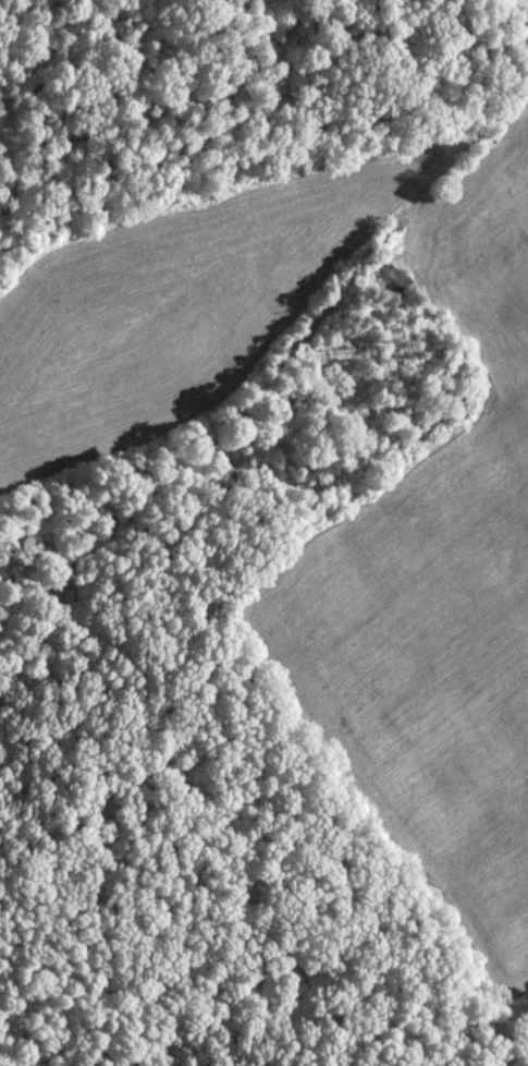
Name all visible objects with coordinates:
road: (272, 355)

